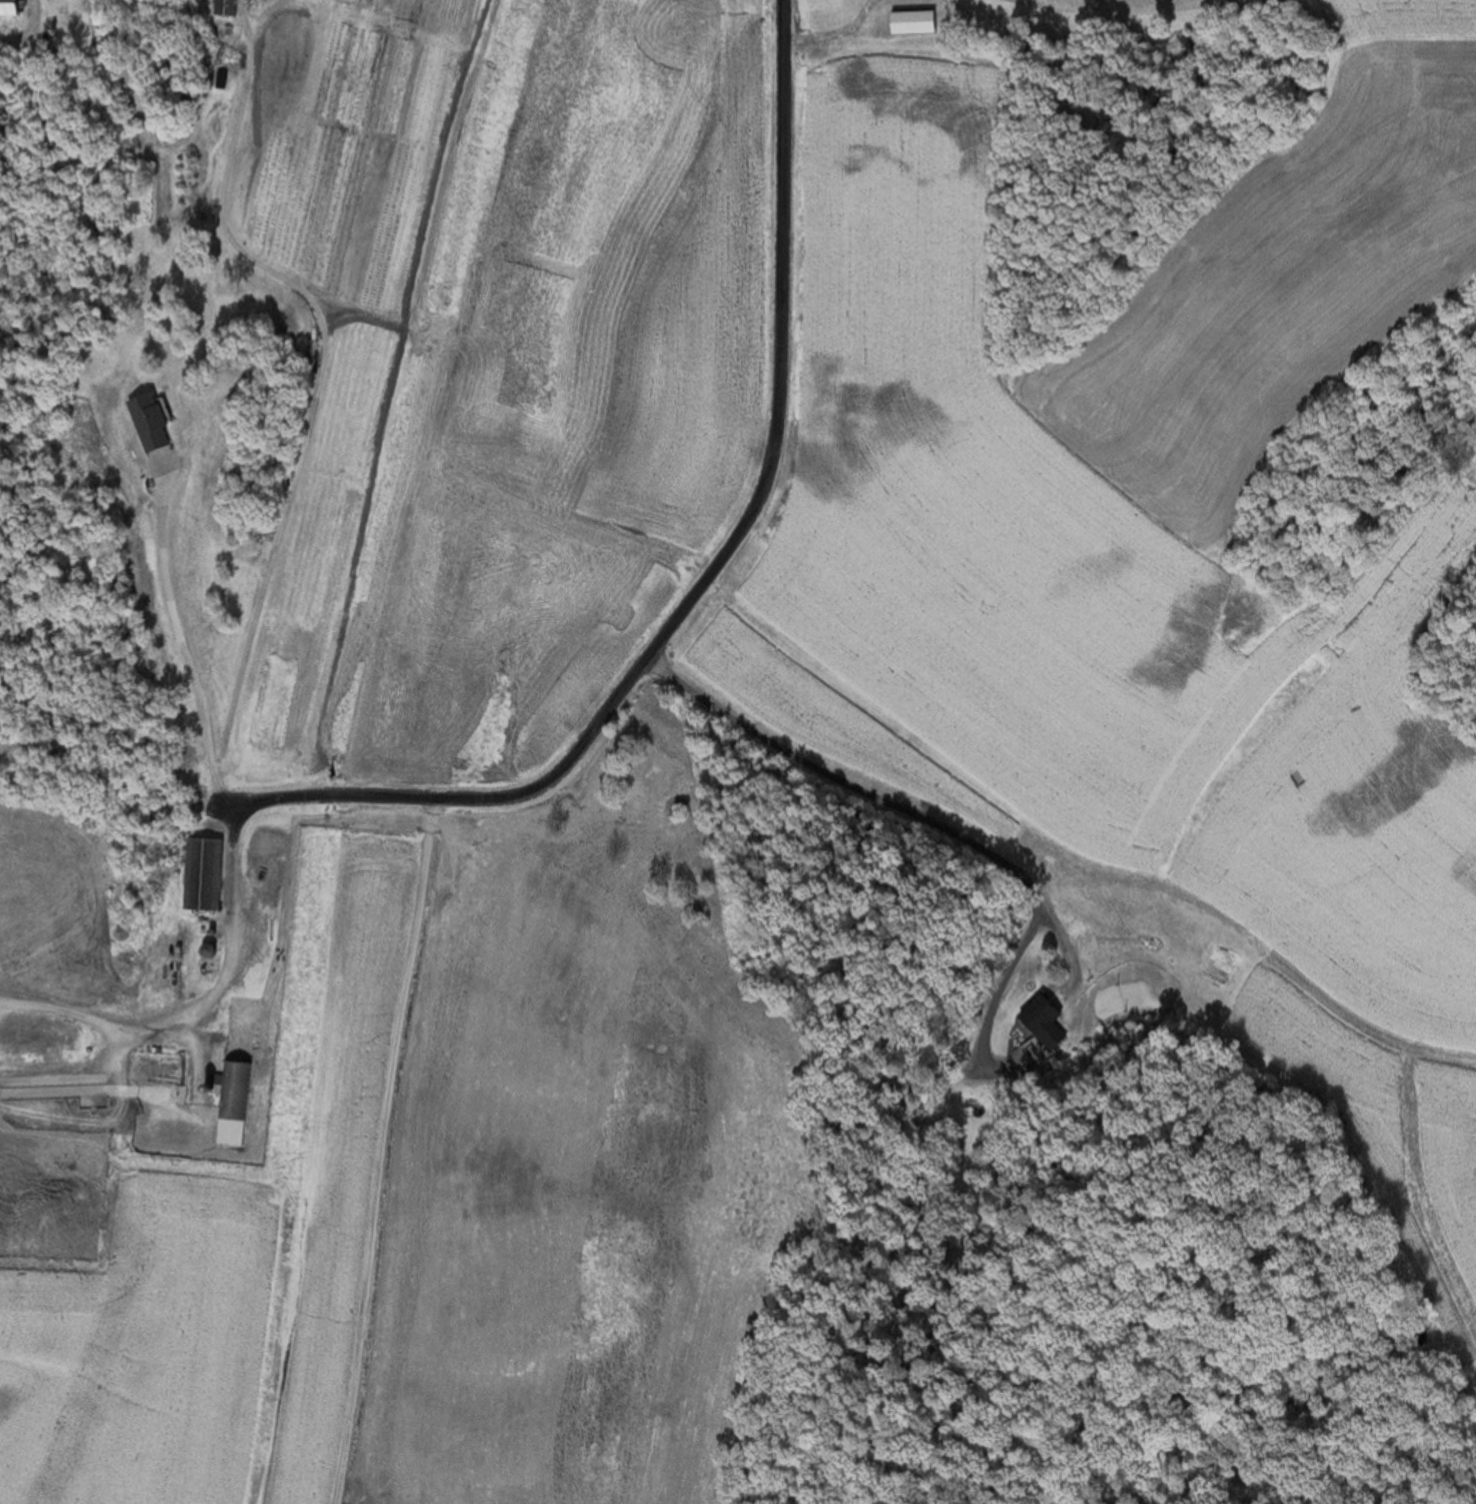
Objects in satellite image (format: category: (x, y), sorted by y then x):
building: (13, 7)
building: (228, 7)
building: (915, 21)
building: (154, 422)
road: (708, 573)
road: (175, 654)
road: (882, 805)
building: (206, 874)
building: (211, 950)
road: (194, 1009)
building: (1048, 1021)
building: (236, 1101)

